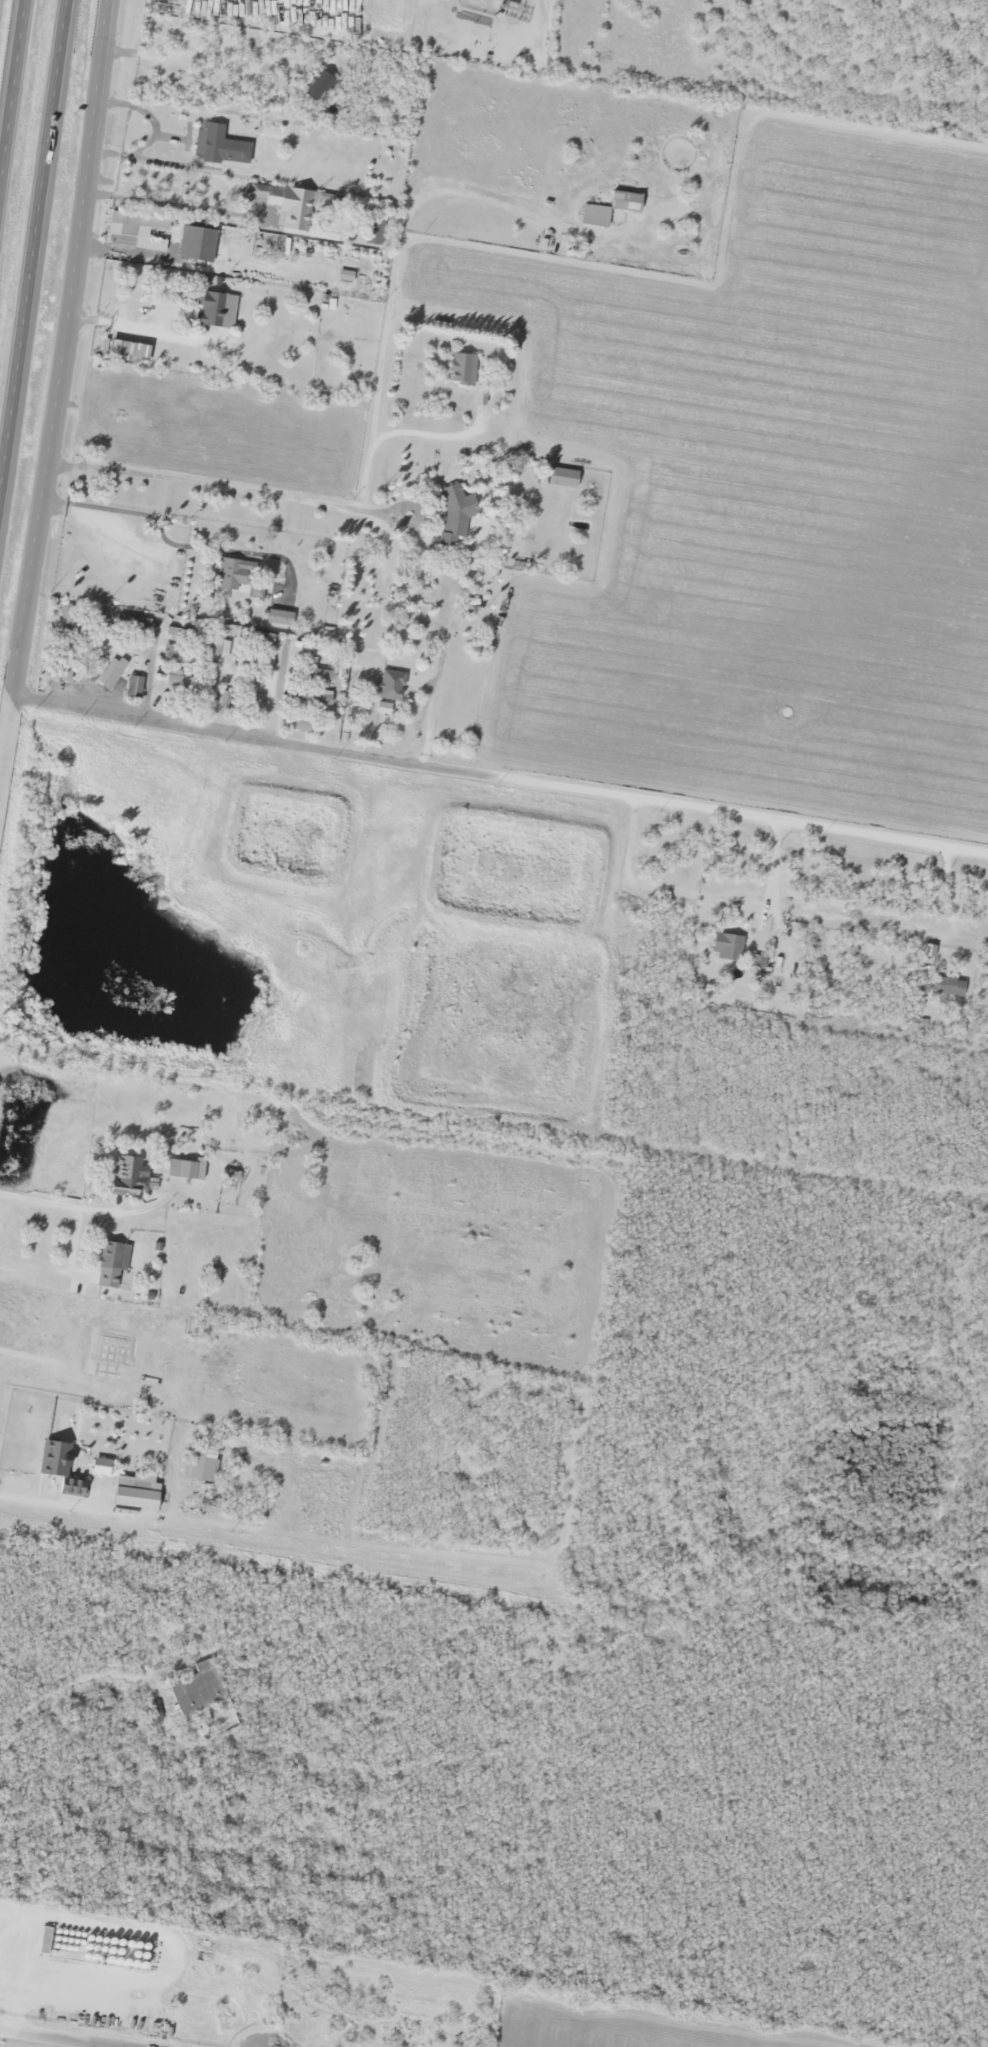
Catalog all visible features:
road: (10, 72)
building: (219, 146)
building: (285, 205)
building: (607, 208)
road: (30, 211)
building: (124, 229)
building: (197, 243)
building: (214, 310)
building: (124, 352)
road: (54, 364)
building: (459, 369)
building: (558, 478)
building: (453, 516)
building: (230, 576)
building: (279, 618)
building: (67, 619)
building: (97, 623)
building: (131, 624)
building: (181, 635)
building: (254, 638)
building: (219, 652)
building: (178, 657)
building: (250, 660)
building: (110, 674)
building: (317, 675)
building: (179, 682)
building: (390, 686)
building: (133, 688)
building: (177, 697)
building: (308, 698)
building: (220, 703)
building: (297, 723)
building: (291, 773)
road: (490, 855)
building: (724, 947)
building: (869, 964)
building: (945, 987)
building: (184, 1170)
building: (127, 1178)
road: (63, 1205)
building: (111, 1263)
building: (201, 1463)
building: (60, 1467)
building: (133, 1496)
road: (547, 1557)
building: (159, 1636)
building: (551, 1659)
building: (198, 1689)
road: (57, 2037)

